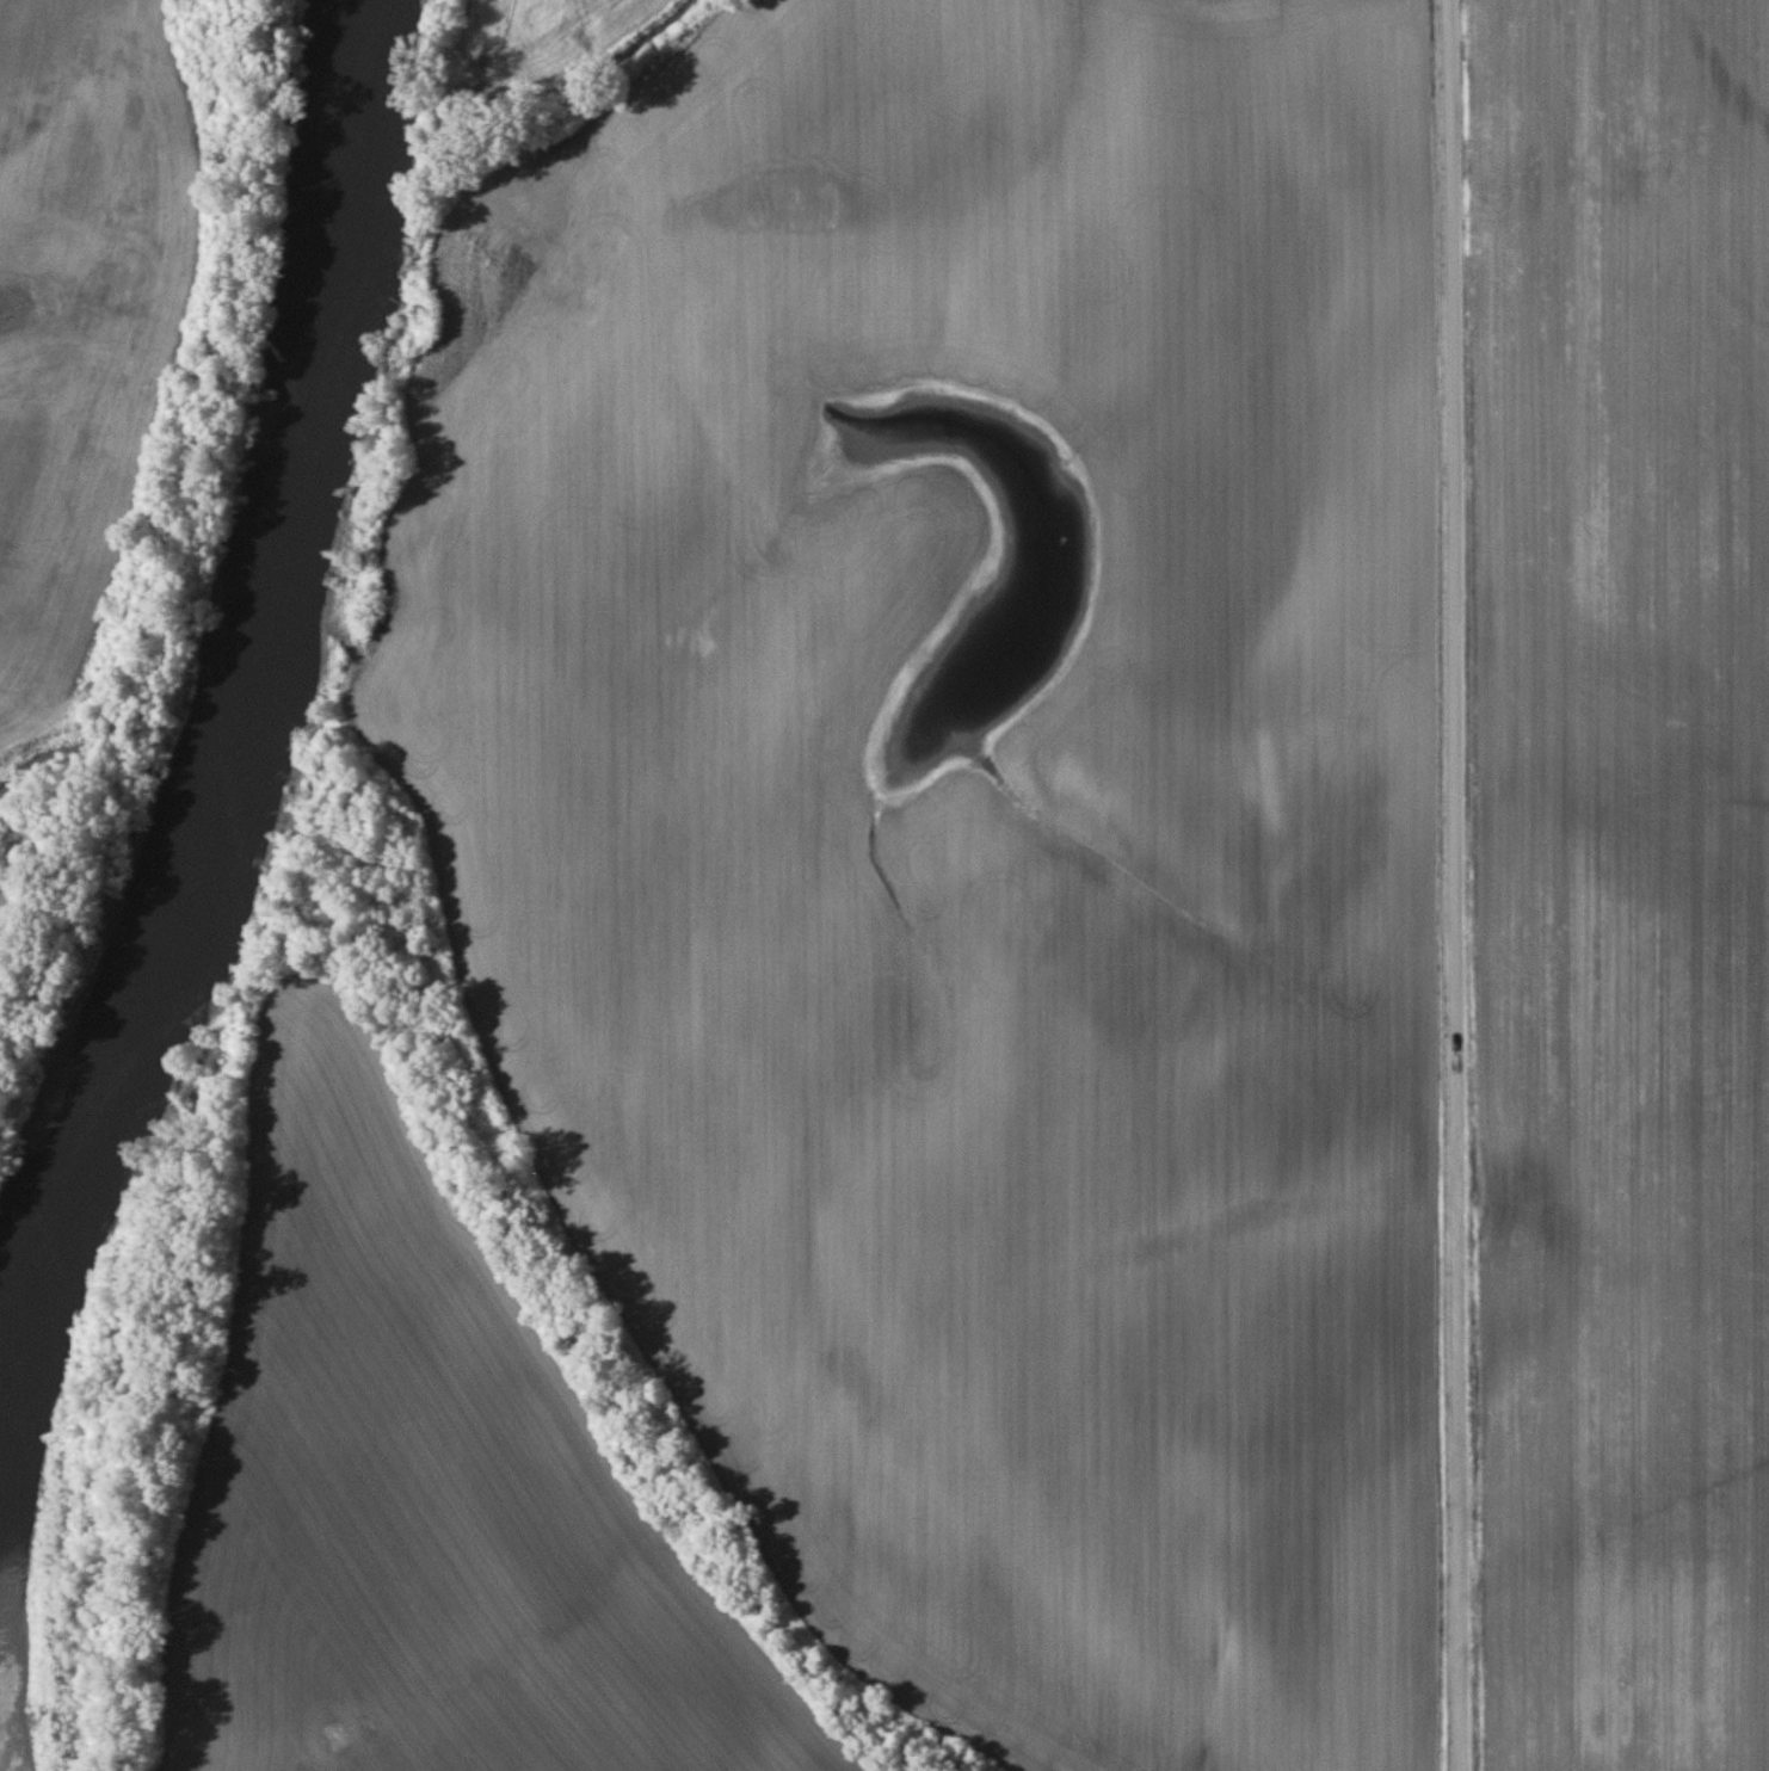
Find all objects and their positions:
road: (1456, 884)

